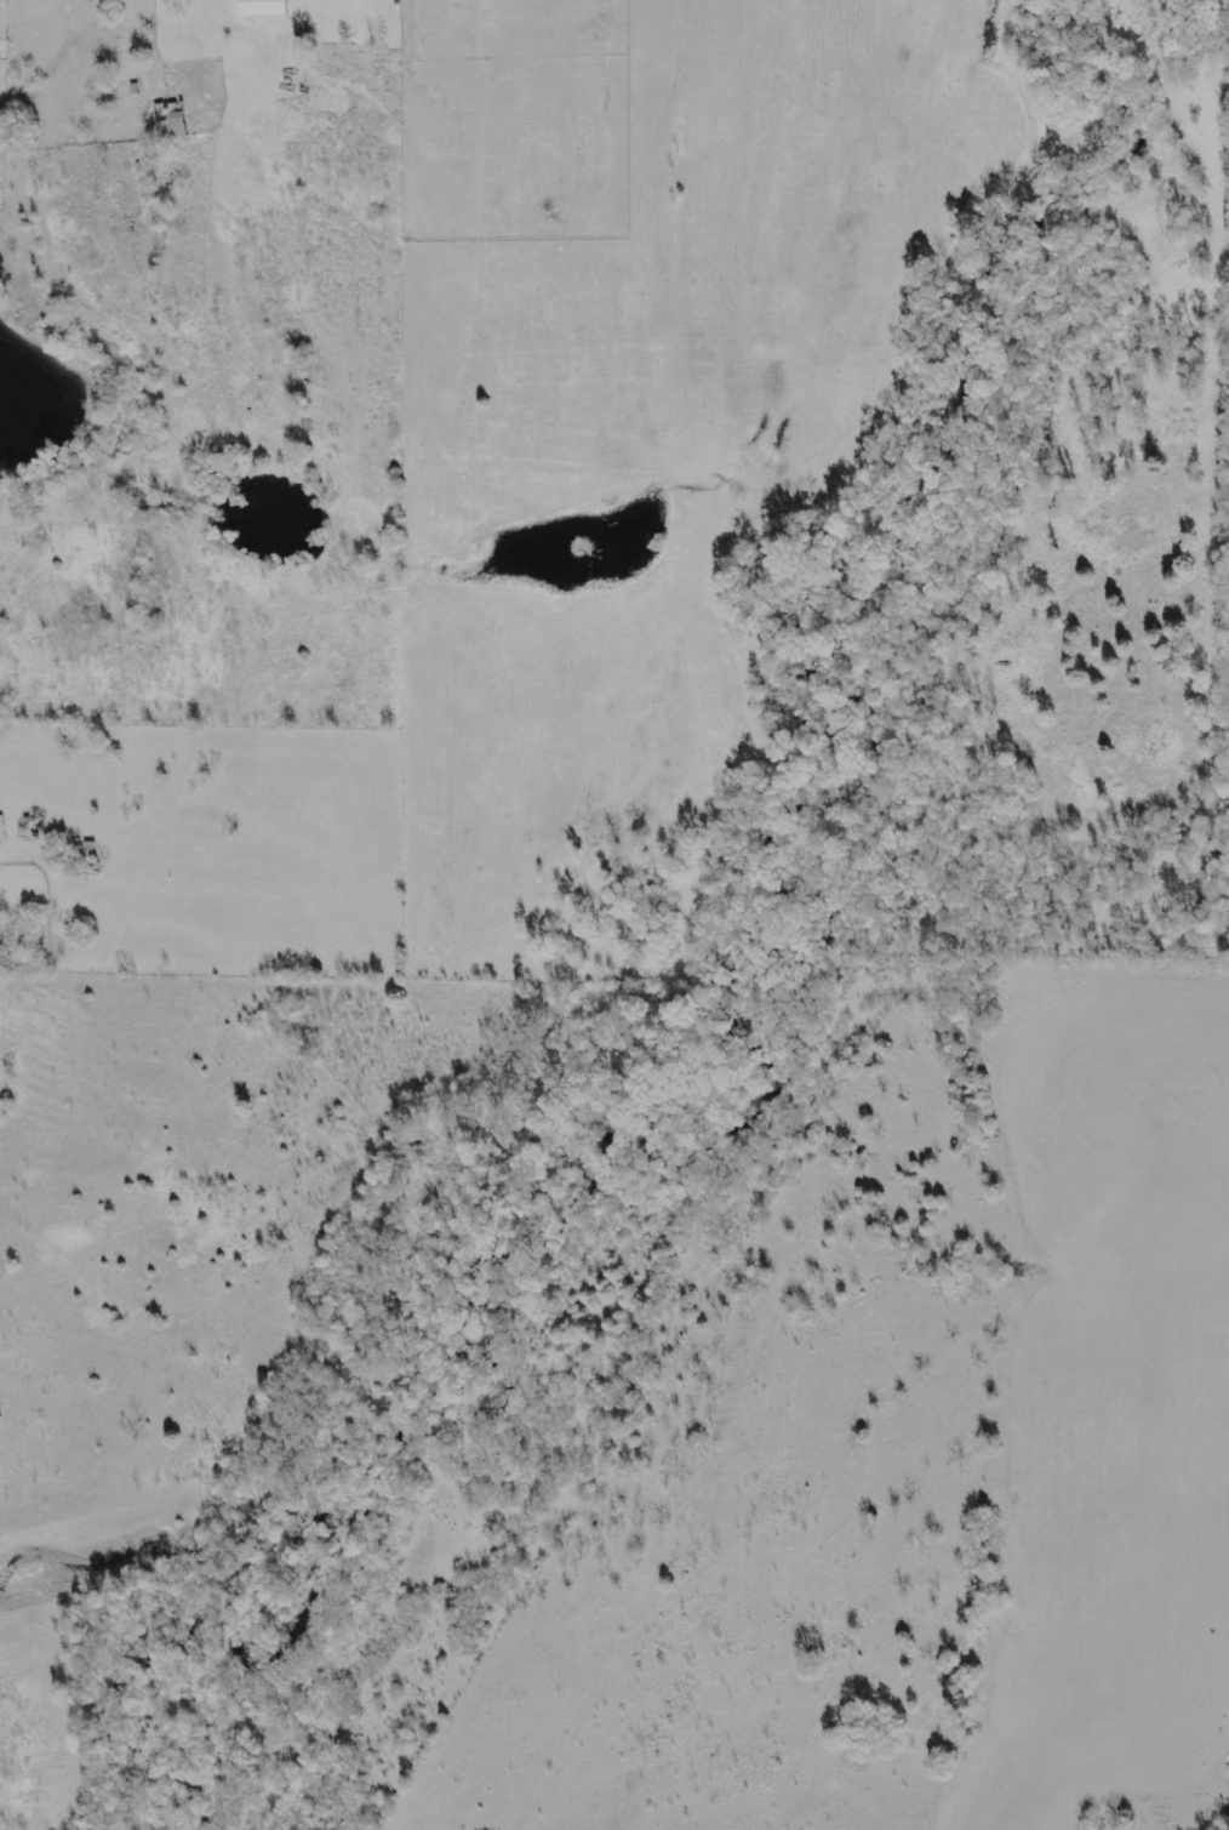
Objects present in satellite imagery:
building: (261, 8)
building: (167, 126)
building: (0, 831)

